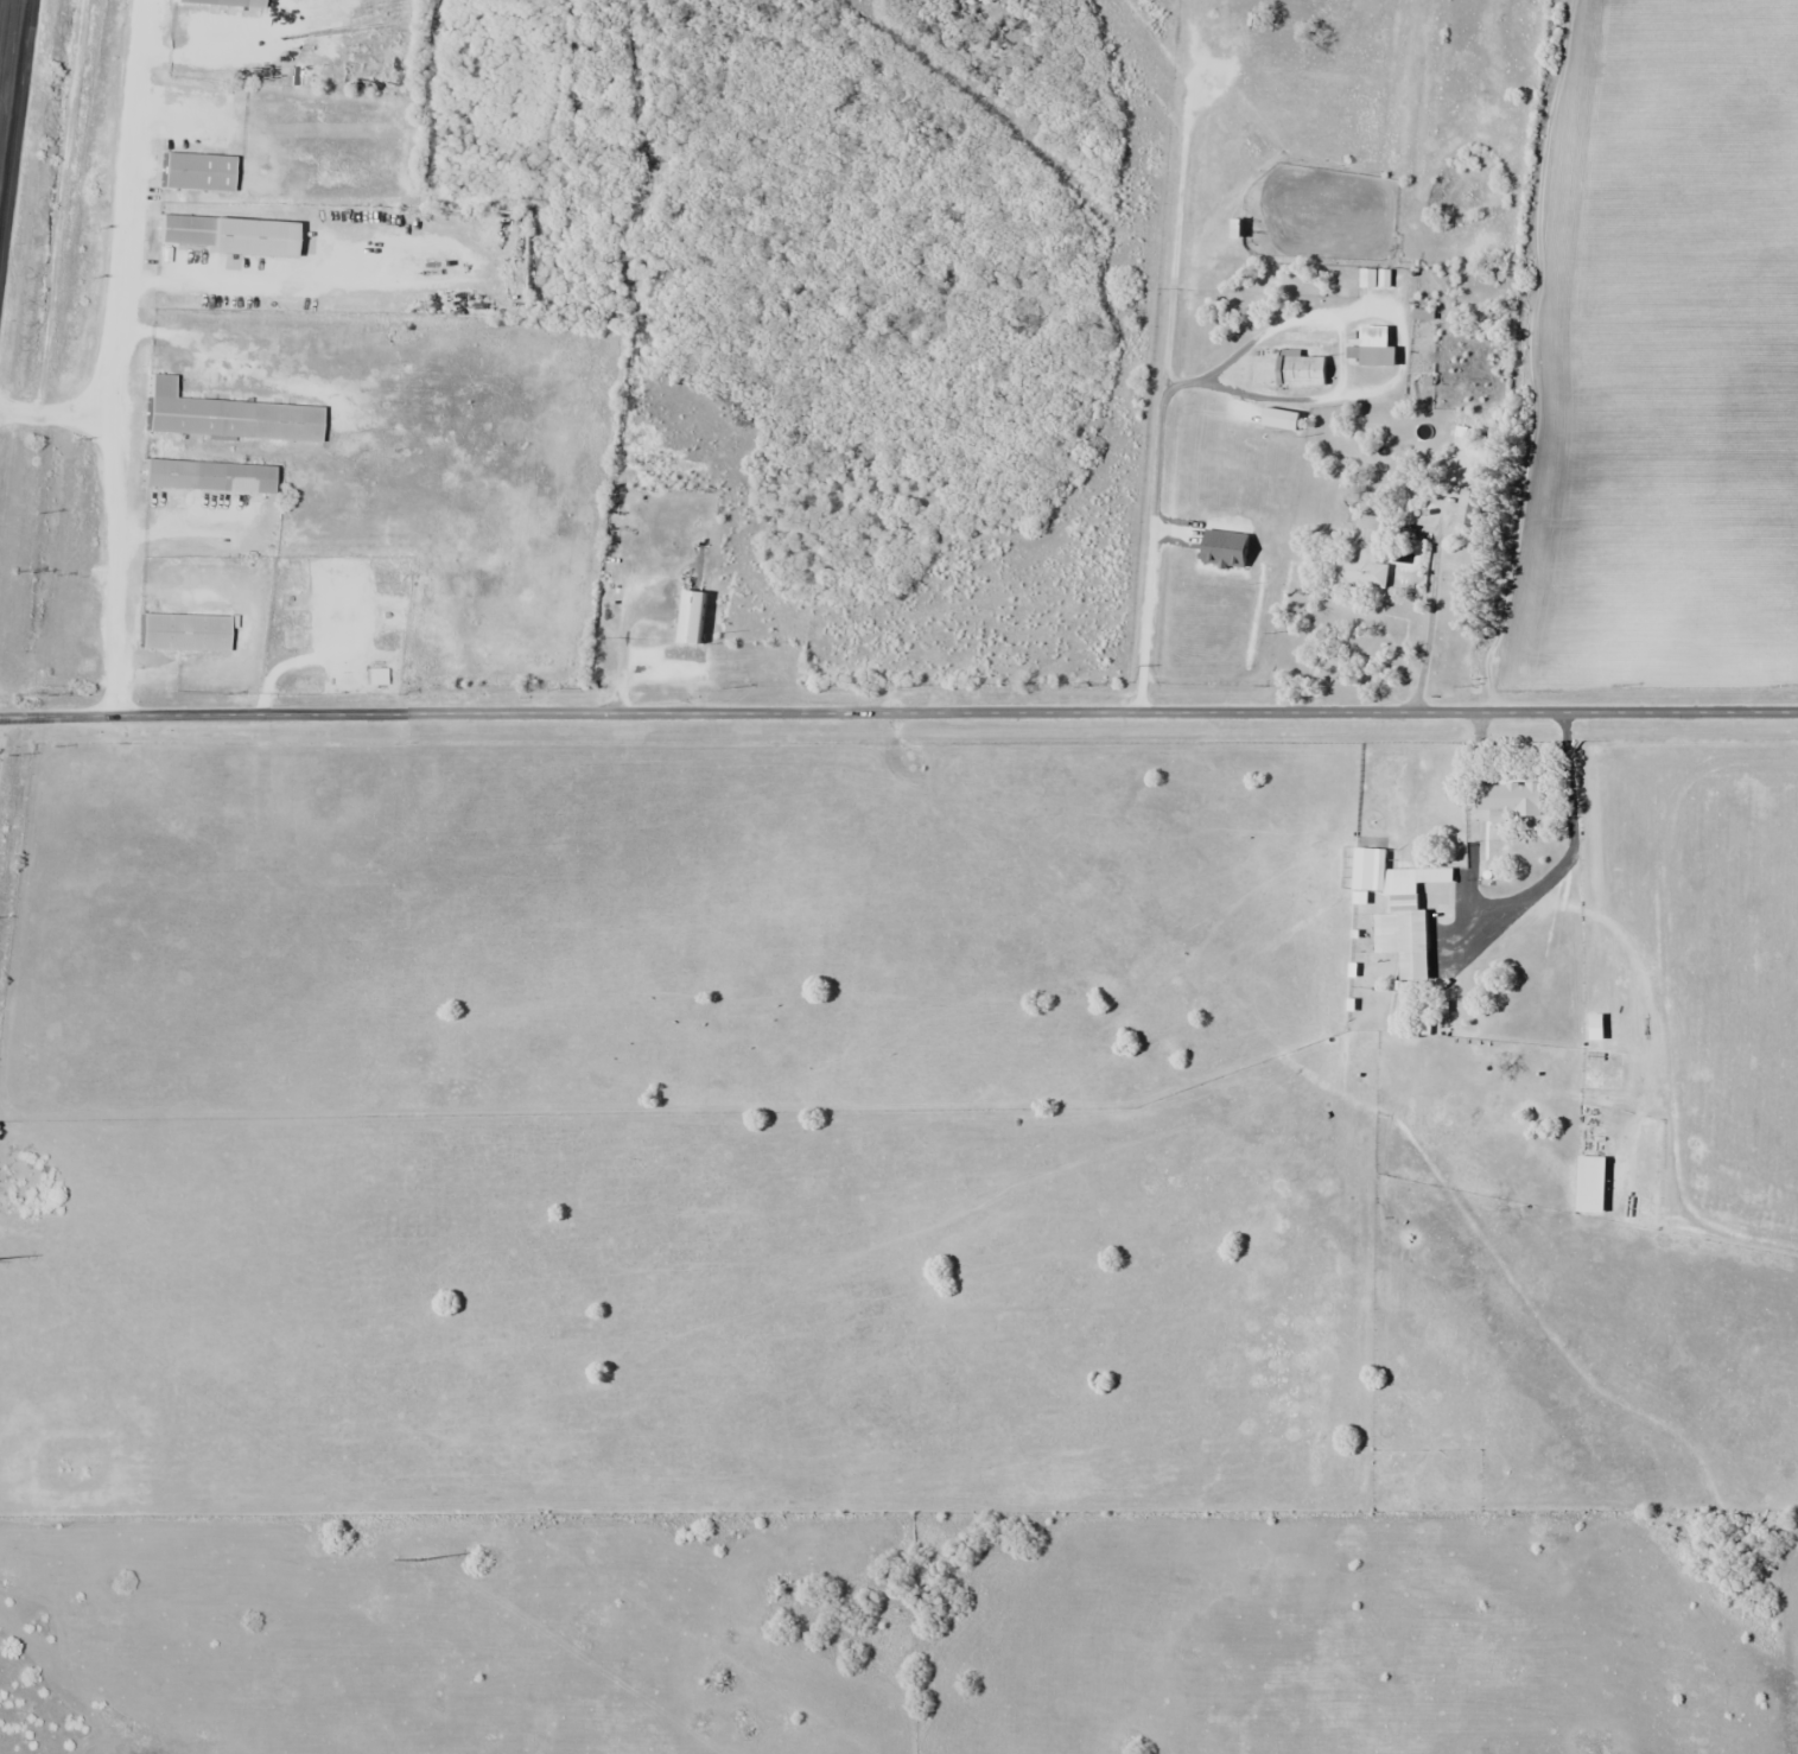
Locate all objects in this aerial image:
building: (209, 2)
road: (2, 20)
road: (12, 96)
building: (193, 170)
building: (224, 234)
road: (121, 260)
building: (1374, 356)
building: (1300, 370)
railway: (45, 385)
building: (195, 415)
building: (178, 474)
building: (1469, 508)
building: (1361, 558)
road: (116, 564)
road: (1428, 629)
building: (182, 631)
building: (374, 676)
road: (898, 713)
building: (1507, 800)
building: (1399, 909)
power tower: (420, 1558)

